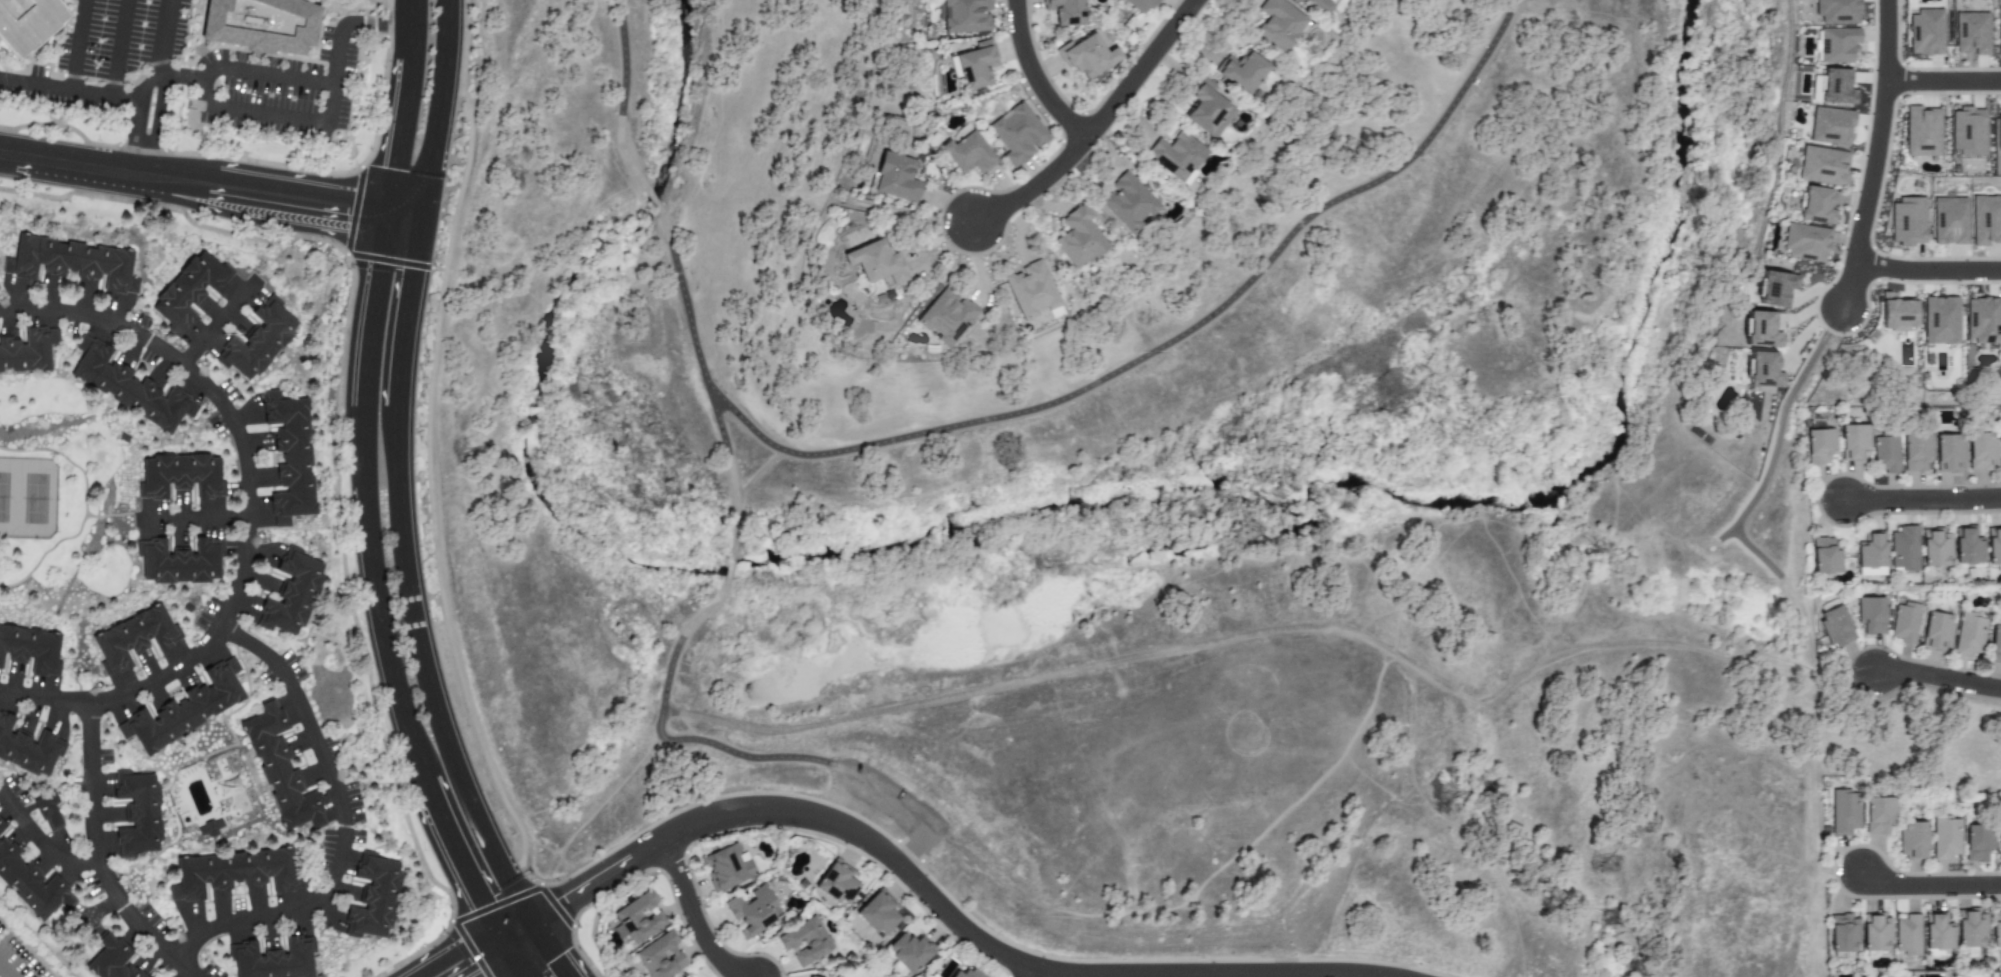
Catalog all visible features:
building: (1141, 4)
building: (1319, 5)
building: (1836, 11)
building: (1066, 12)
building: (964, 17)
building: (30, 18)
road: (375, 23)
building: (261, 24)
building: (1280, 25)
road: (408, 29)
building: (1999, 30)
building: (1925, 32)
building: (1971, 33)
road: (163, 38)
road: (76, 45)
building: (1836, 45)
road: (117, 48)
building: (1087, 55)
building: (974, 66)
road: (1138, 69)
building: (1242, 72)
road: (334, 74)
road: (276, 76)
road: (180, 77)
road: (1033, 77)
road: (1942, 81)
road: (203, 82)
building: (1833, 87)
road: (68, 89)
road: (624, 97)
building: (1209, 109)
road: (439, 111)
road: (268, 116)
road: (133, 120)
building: (1830, 126)
road: (159, 127)
road: (1878, 131)
building: (1998, 131)
building: (1922, 132)
building: (1967, 132)
building: (1018, 134)
road: (396, 137)
building: (966, 152)
building: (1177, 156)
traffic signals: (392, 164)
building: (1823, 166)
building: (895, 177)
road: (191, 185)
road: (1034, 186)
road: (653, 202)
building: (1127, 202)
building: (1816, 206)
traffic signals: (343, 210)
road: (402, 218)
building: (1985, 220)
building: (1907, 221)
building: (1949, 221)
building: (1078, 239)
building: (1805, 243)
building: (75, 261)
building: (876, 262)
road: (1927, 271)
traffic signals: (412, 277)
road: (1849, 284)
building: (1775, 289)
building: (193, 290)
building: (1031, 290)
road: (685, 307)
building: (1896, 314)
road: (406, 315)
building: (946, 316)
building: (1983, 320)
building: (1940, 321)
road: (217, 323)
building: (262, 339)
road: (1171, 344)
building: (28, 351)
building: (1762, 370)
building: (133, 387)
building: (1853, 442)
building: (1819, 446)
building: (2000, 446)
building: (1981, 451)
building: (1916, 453)
building: (1948, 453)
building: (1886, 455)
building: (294, 456)
road: (756, 473)
building: (185, 475)
road: (730, 475)
road: (361, 499)
road: (1922, 499)
park: (27, 500)
road: (250, 513)
road: (195, 519)
building: (1993, 546)
building: (1967, 547)
building: (1934, 548)
building: (1903, 549)
building: (1870, 555)
building: (1823, 557)
building: (184, 561)
road: (728, 569)
building: (295, 592)
building: (1872, 615)
building: (1905, 623)
building: (1835, 626)
building: (1937, 631)
building: (1968, 635)
building: (138, 637)
building: (1995, 644)
building: (31, 647)
street lamp: (1844, 663)
road: (424, 671)
road: (1937, 677)
building: (188, 709)
park: (1276, 725)
road: (666, 740)
building: (28, 750)
building: (284, 768)
road: (424, 791)
road: (885, 796)
parking lot: (893, 805)
building: (1843, 812)
building: (48, 814)
building: (1877, 815)
building: (139, 816)
building: (0, 823)
road: (342, 825)
building: (1, 830)
building: (1944, 838)
building: (1911, 840)
building: (1999, 841)
road: (43, 843)
building: (1977, 843)
road: (913, 848)
road: (101, 858)
building: (726, 866)
road: (458, 868)
building: (240, 872)
building: (837, 883)
building: (32, 885)
road: (1929, 885)
building: (377, 896)
traffic signals: (567, 902)
traffic signals: (477, 905)
road: (542, 911)
building: (752, 911)
road: (945, 911)
building: (877, 914)
building: (638, 918)
road: (696, 919)
road: (548, 922)
road: (509, 923)
road: (532, 925)
building: (1970, 929)
building: (1995, 929)
building: (1876, 932)
building: (1937, 933)
building: (1842, 934)
building: (1907, 935)
road: (499, 942)
building: (804, 942)
road: (522, 944)
road: (447, 951)
building: (909, 952)
road: (551, 956)
building: (660, 957)
building: (111, 960)
building: (277, 961)
road: (486, 964)
traffic signals: (556, 964)
road: (513, 965)
road: (5, 971)
traffic signals: (475, 972)
road: (1032, 972)
building: (969, 973)
building: (808, 976)
road: (1205, 976)

